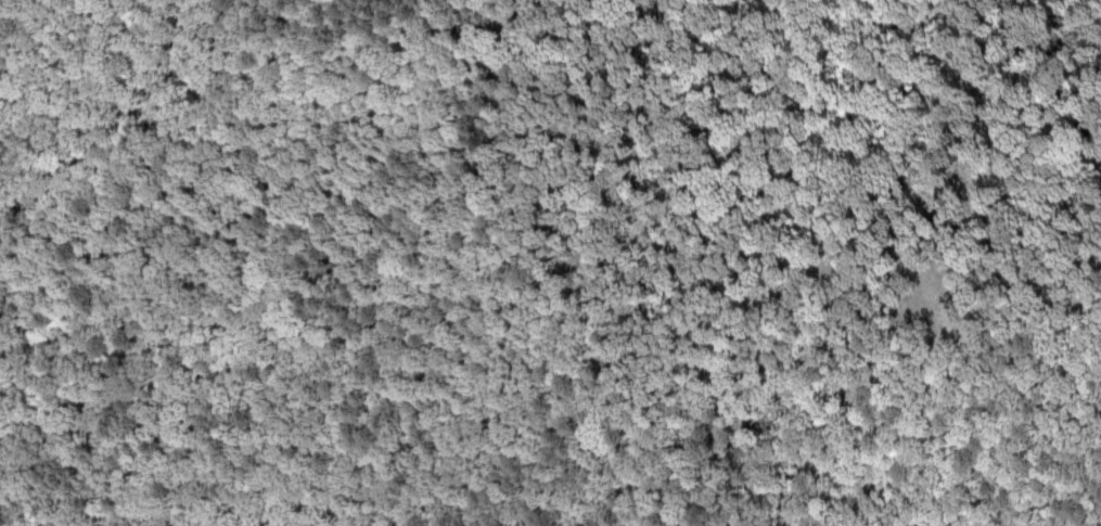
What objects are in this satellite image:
road: (914, 384)

